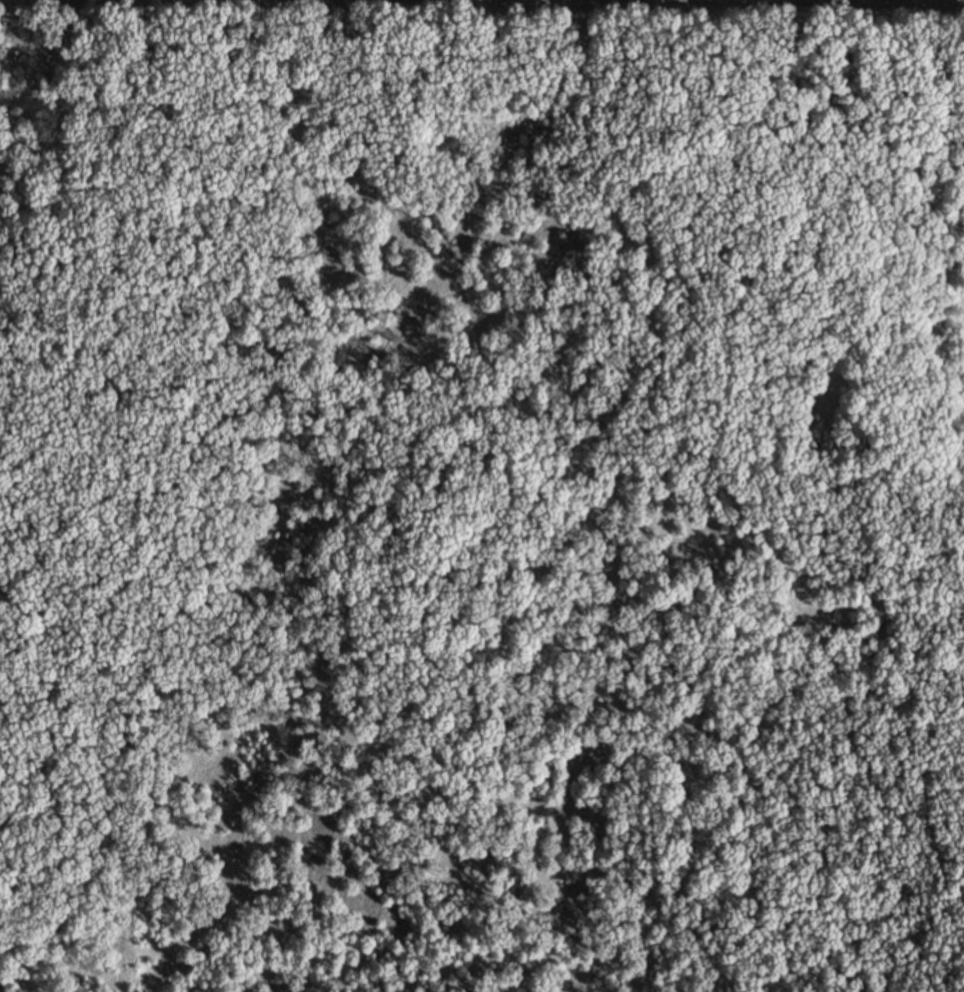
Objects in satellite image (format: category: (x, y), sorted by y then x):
road: (604, 3)
road: (798, 3)
road: (881, 8)

